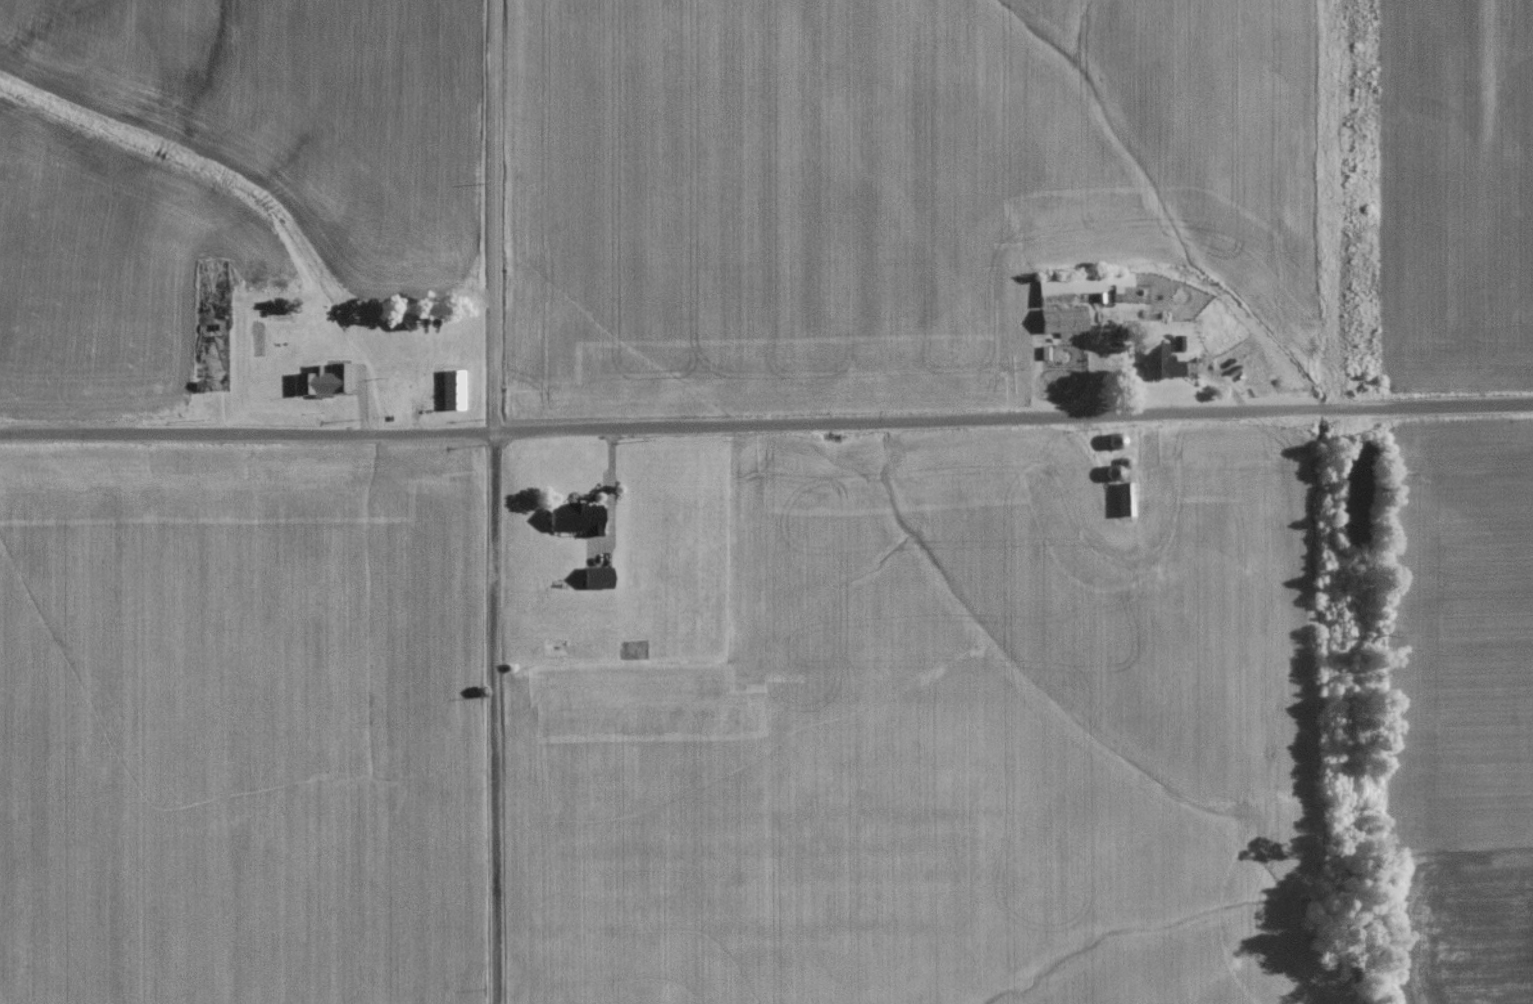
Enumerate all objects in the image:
building: (1066, 288)
building: (1058, 324)
building: (1155, 367)
building: (318, 385)
building: (448, 395)
road: (766, 421)
building: (1110, 446)
building: (1109, 477)
road: (497, 501)
building: (1121, 505)
building: (570, 523)
building: (591, 587)

